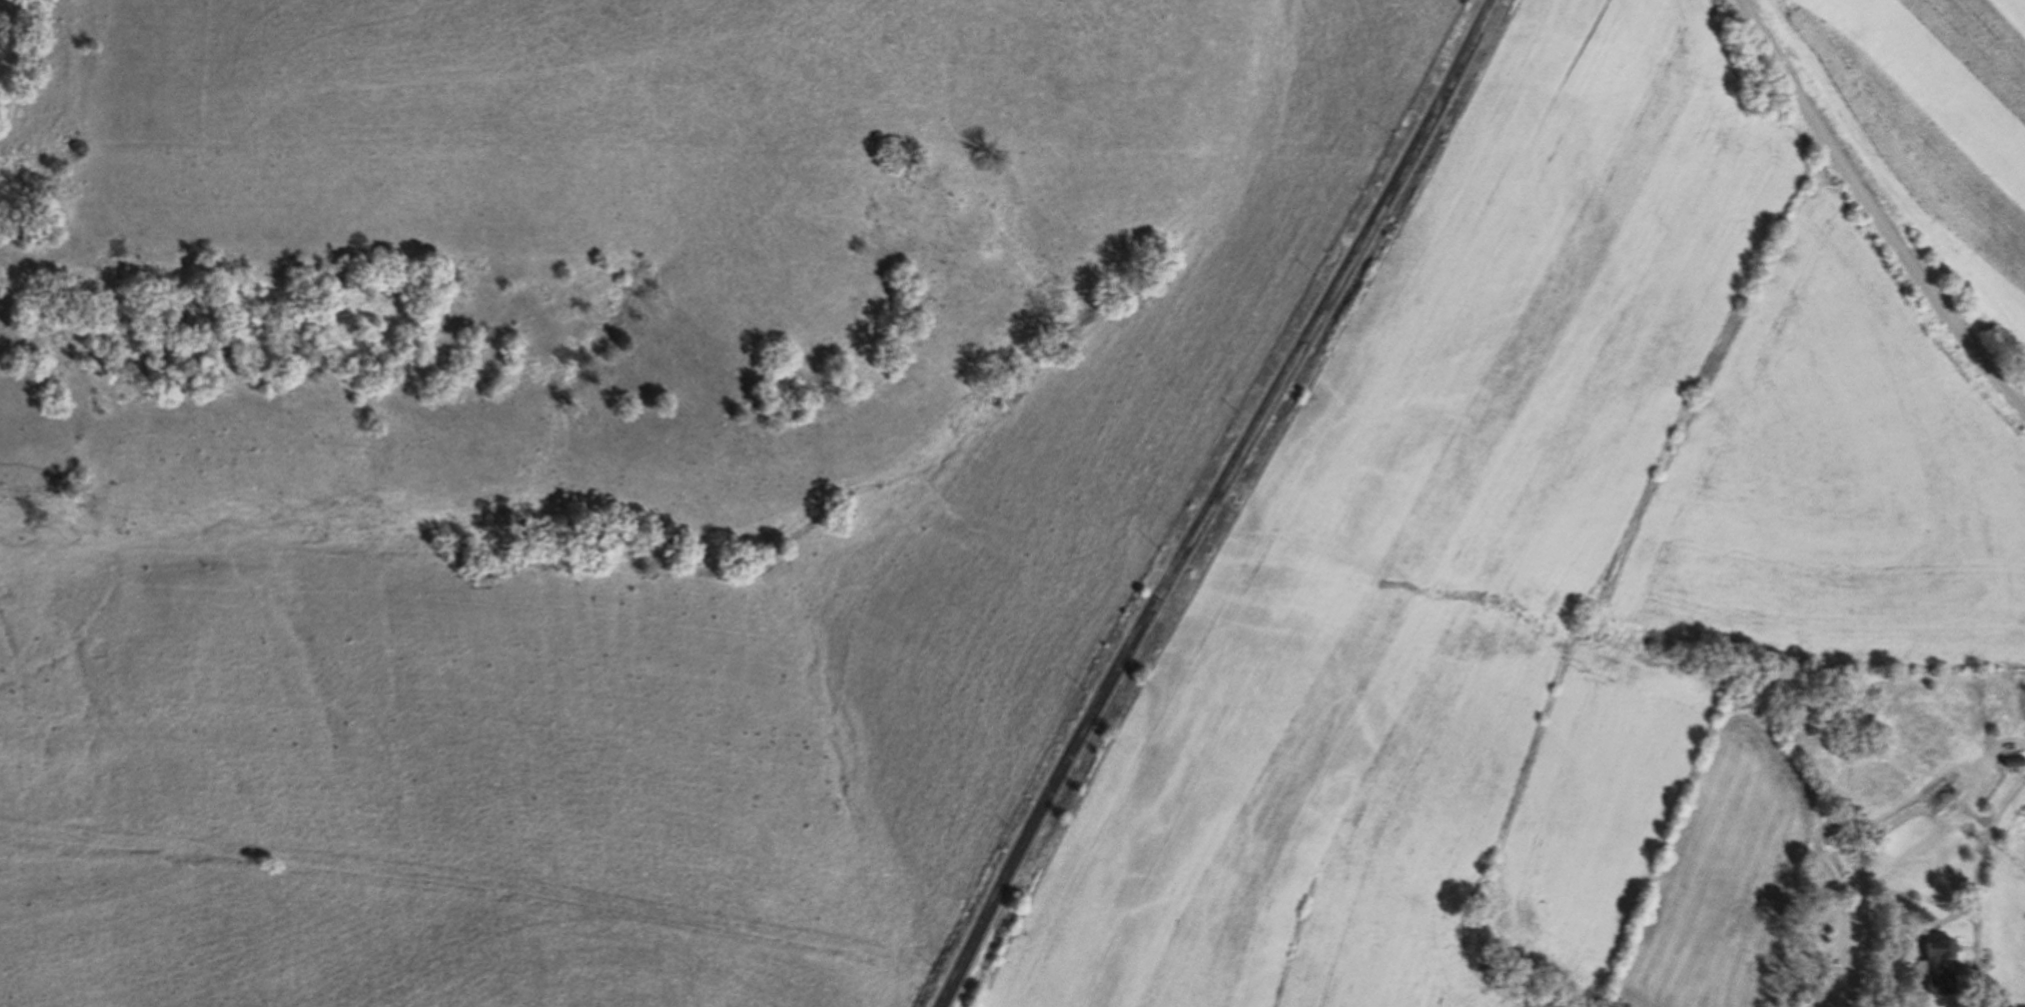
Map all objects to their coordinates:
road: (1890, 210)
road: (1209, 503)
building: (2016, 760)
road: (1987, 804)
building: (1942, 967)

